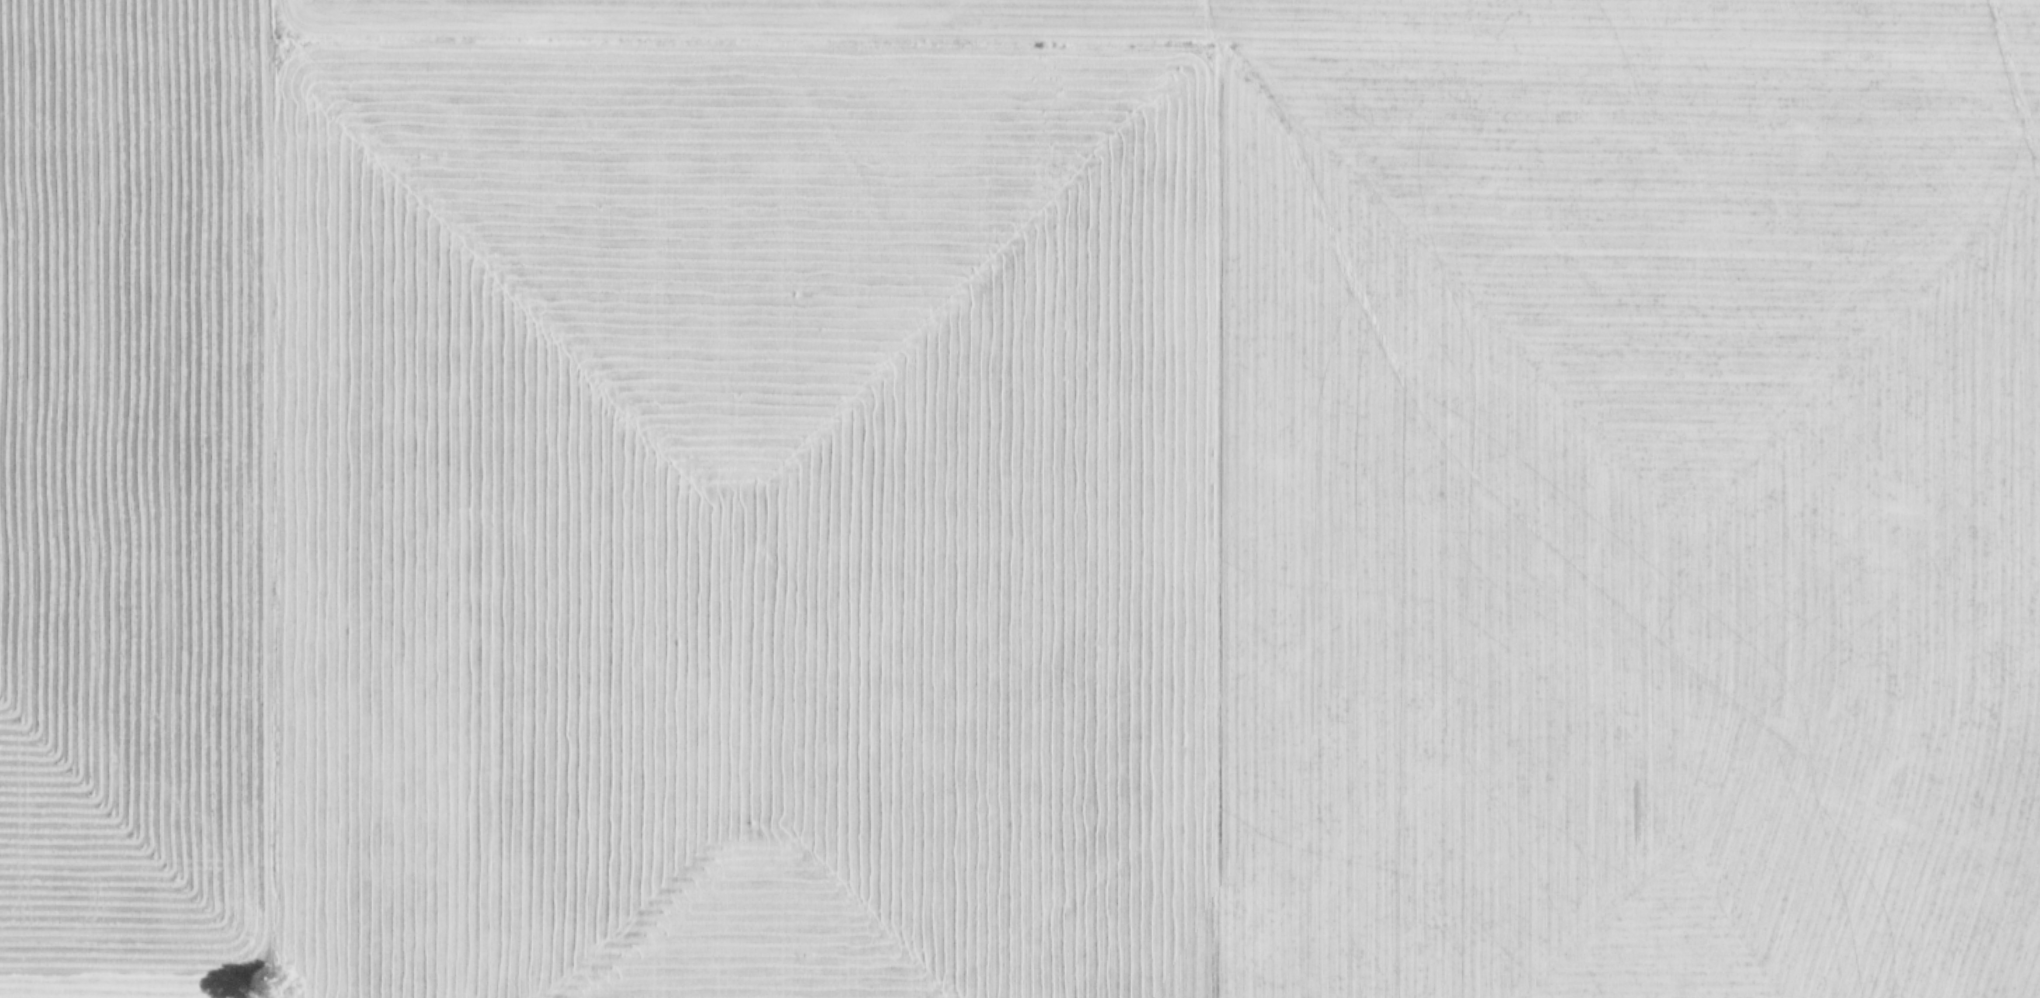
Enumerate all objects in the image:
crop: (1020, 499)

